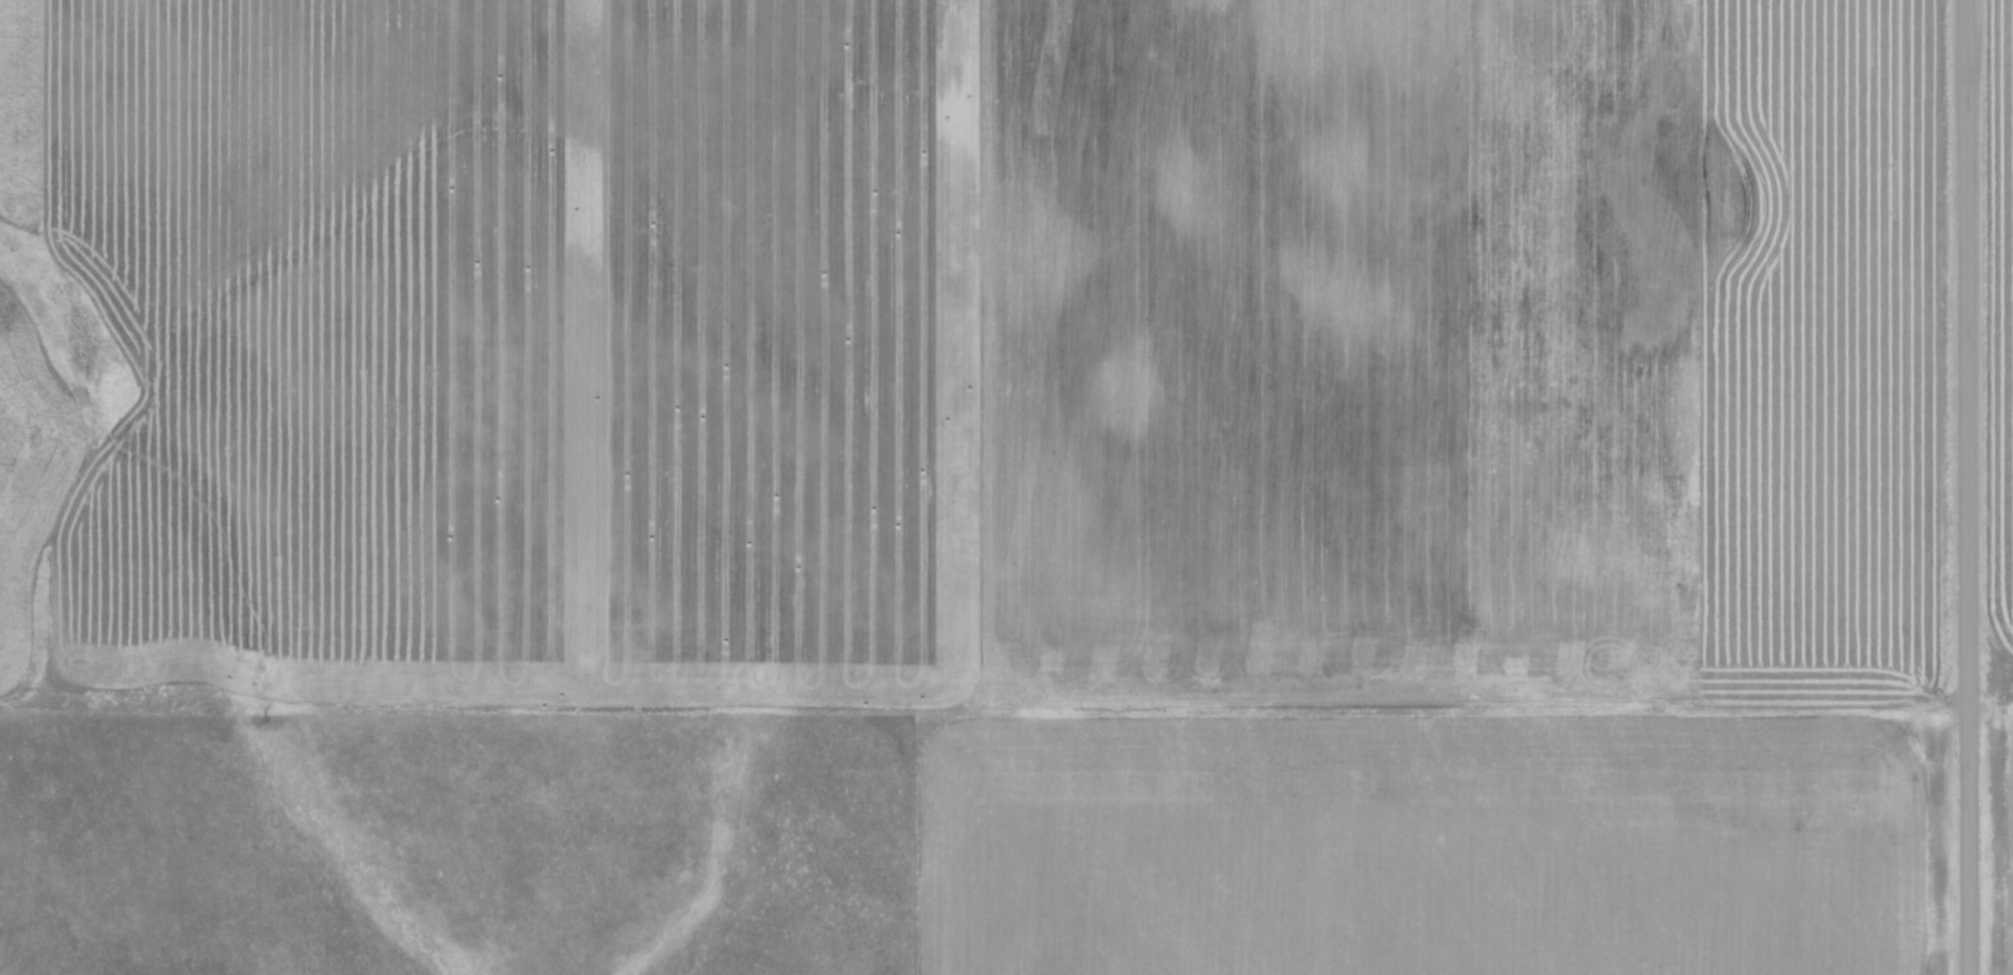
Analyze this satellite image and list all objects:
road: (1973, 487)

